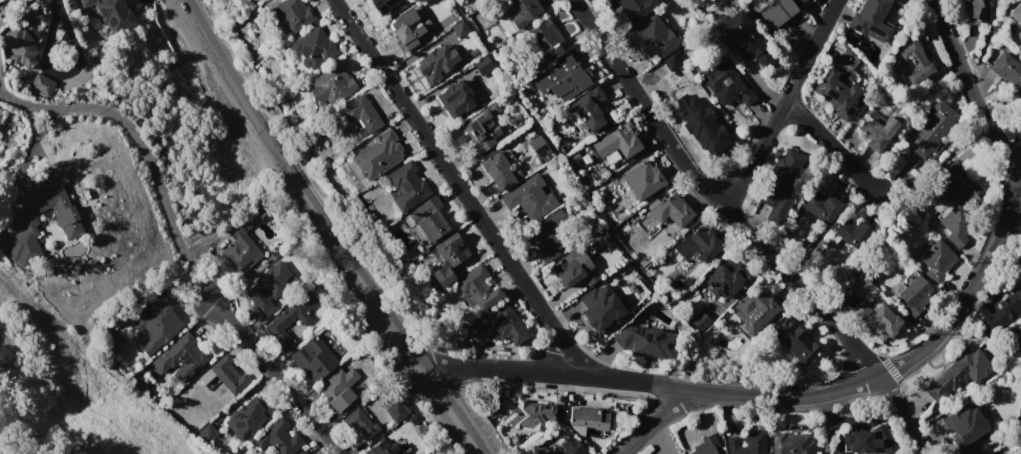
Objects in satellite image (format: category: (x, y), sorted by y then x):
building: (1, 0)
building: (797, 0)
building: (801, 1)
building: (384, 6)
building: (633, 8)
building: (977, 9)
building: (521, 10)
building: (776, 12)
building: (112, 14)
building: (293, 14)
building: (1017, 18)
building: (871, 19)
building: (409, 27)
building: (459, 29)
building: (652, 37)
building: (743, 39)
building: (21, 43)
building: (542, 43)
building: (313, 48)
building: (915, 59)
building: (436, 63)
building: (482, 65)
building: (1007, 70)
road: (62, 73)
building: (561, 80)
building: (41, 84)
building: (724, 84)
building: (331, 85)
building: (837, 94)
building: (456, 99)
road: (975, 102)
road: (782, 106)
building: (588, 111)
building: (360, 113)
building: (934, 127)
building: (482, 128)
building: (703, 128)
building: (877, 132)
building: (617, 141)
building: (538, 146)
road: (832, 146)
road: (142, 150)
building: (378, 154)
road: (280, 158)
building: (497, 170)
building: (957, 178)
building: (642, 179)
building: (780, 181)
building: (407, 186)
road: (456, 188)
building: (529, 198)
building: (821, 206)
building: (671, 211)
building: (65, 219)
building: (429, 219)
building: (954, 223)
road: (744, 230)
building: (851, 231)
building: (550, 235)
building: (241, 245)
building: (698, 245)
building: (448, 258)
building: (936, 261)
building: (574, 268)
building: (725, 280)
building: (268, 287)
building: (477, 287)
building: (914, 293)
building: (594, 306)
building: (755, 308)
building: (1000, 311)
building: (877, 318)
building: (289, 319)
building: (700, 321)
building: (157, 324)
building: (1019, 324)
building: (501, 326)
building: (795, 342)
building: (647, 343)
road: (403, 344)
building: (187, 357)
building: (313, 359)
building: (957, 373)
building: (228, 375)
road: (277, 375)
building: (338, 388)
road: (779, 396)
building: (395, 412)
road: (450, 413)
building: (525, 415)
building: (247, 419)
building: (587, 419)
road: (655, 422)
building: (359, 423)
road: (820, 424)
building: (965, 426)
building: (206, 432)
building: (278, 438)
building: (865, 441)
building: (747, 443)
building: (790, 443)
building: (706, 446)
building: (382, 447)
building: (565, 447)
building: (981, 449)
building: (304, 452)
building: (315, 452)
building: (399, 452)

